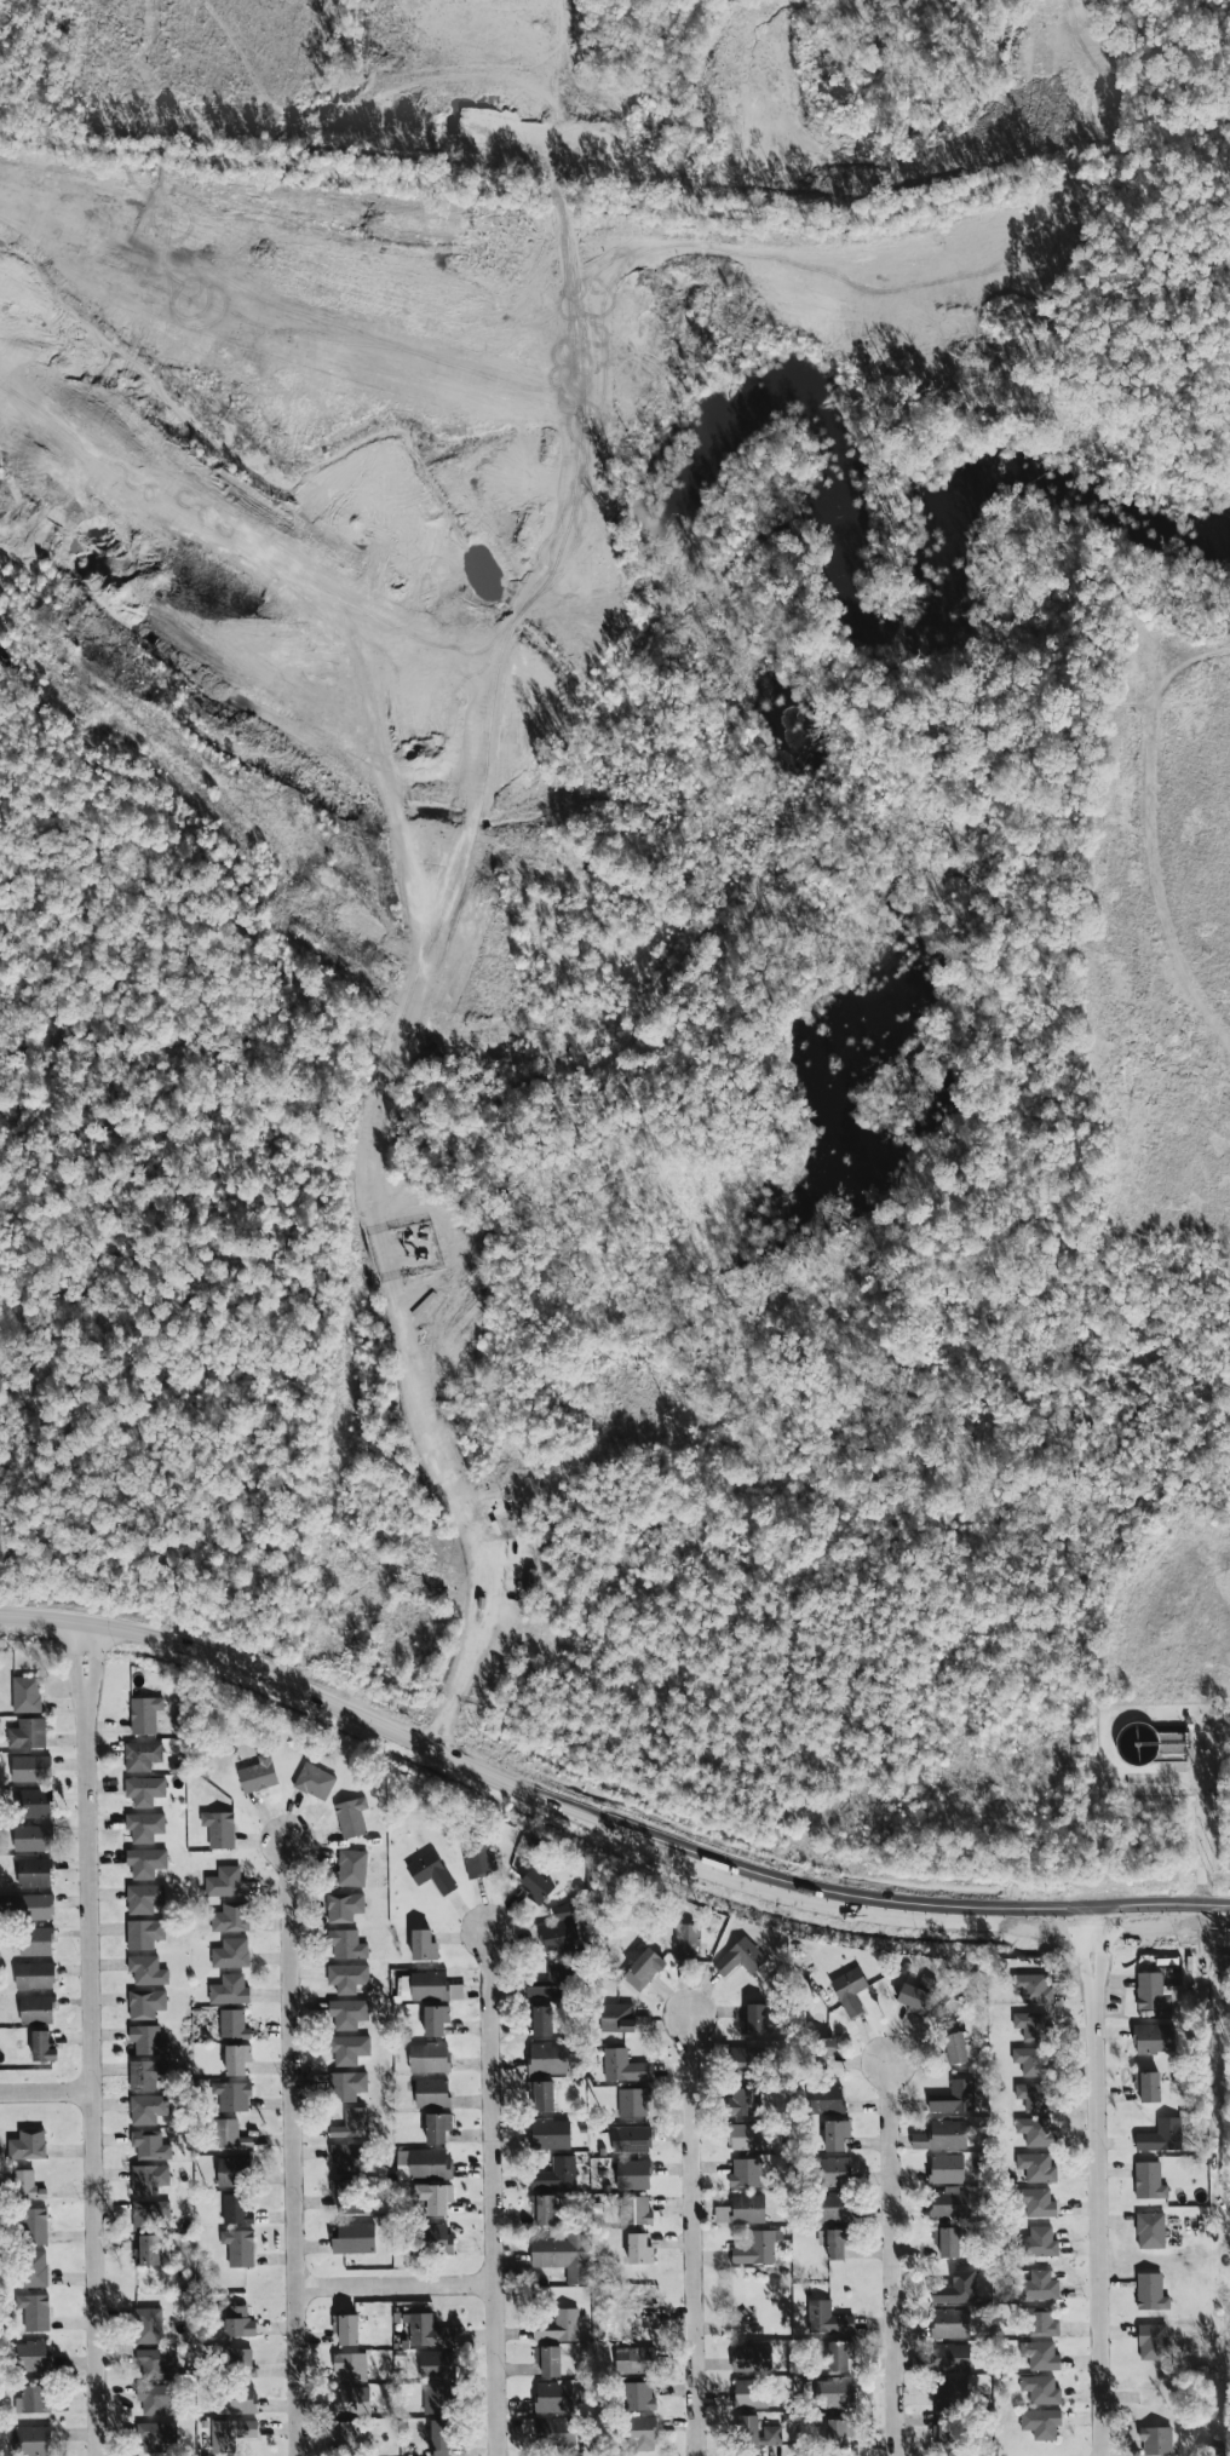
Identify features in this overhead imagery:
road: (372, 1213)
road: (84, 1638)
road: (91, 1640)
road: (80, 1674)
road: (91, 1676)
building: (25, 1693)
building: (144, 1714)
building: (27, 1733)
building: (140, 1755)
building: (30, 1768)
building: (257, 1775)
building: (314, 1782)
building: (144, 1790)
building: (31, 1802)
building: (350, 1817)
building: (144, 1827)
road: (603, 1828)
building: (219, 1829)
road: (1201, 1834)
building: (33, 1837)
building: (478, 1858)
building: (145, 1862)
building: (351, 1868)
building: (430, 1871)
building: (34, 1873)
building: (225, 1882)
building: (536, 1886)
building: (143, 1898)
building: (28, 1906)
building: (343, 1906)
building: (230, 1917)
building: (559, 1932)
building: (144, 1933)
building: (35, 1940)
building: (346, 1944)
building: (423, 1945)
building: (230, 1954)
building: (736, 1957)
building: (639, 1965)
building: (146, 1969)
building: (34, 1975)
building: (346, 1977)
building: (552, 1983)
building: (429, 1986)
building: (1029, 1988)
building: (229, 1990)
building: (845, 1991)
building: (1145, 1991)
building: (904, 1997)
building: (145, 2003)
building: (36, 2008)
building: (347, 2013)
building: (614, 2018)
building: (748, 2019)
building: (435, 2020)
building: (540, 2020)
building: (232, 2024)
building: (1030, 2025)
building: (1149, 2038)
building: (148, 2040)
building: (41, 2046)
building: (948, 2048)
building: (347, 2049)
building: (814, 2053)
building: (429, 2057)
building: (547, 2058)
building: (236, 2059)
building: (1027, 2060)
building: (620, 2066)
road: (96, 2075)
building: (146, 2075)
building: (345, 2086)
building: (1142, 2088)
building: (431, 2092)
road: (48, 2095)
building: (231, 2095)
building: (541, 2095)
building: (950, 2098)
building: (821, 2099)
building: (628, 2101)
building: (743, 2103)
building: (146, 2109)
building: (1034, 2117)
building: (351, 2123)
building: (437, 2127)
building: (617, 2133)
building: (230, 2134)
building: (550, 2134)
building: (830, 2135)
building: (737, 2136)
building: (937, 2136)
building: (1156, 2136)
building: (27, 2145)
building: (149, 2145)
road: (292, 2147)
building: (347, 2157)
building: (423, 2163)
building: (1031, 2168)
building: (942, 2169)
building: (232, 2172)
building: (823, 2172)
building: (741, 2173)
building: (556, 2174)
building: (628, 2175)
building: (148, 2179)
building: (1144, 2181)
building: (27, 2185)
building: (344, 2193)
road: (494, 2193)
road: (1092, 2196)
building: (435, 2197)
building: (1033, 2202)
building: (944, 2204)
building: (544, 2208)
building: (824, 2208)
building: (235, 2209)
building: (741, 2209)
building: (634, 2210)
building: (149, 2214)
building: (34, 2227)
building: (1145, 2231)
road: (691, 2237)
building: (352, 2239)
building: (430, 2239)
building: (1034, 2243)
building: (827, 2245)
building: (238, 2247)
building: (633, 2249)
building: (749, 2249)
building: (146, 2250)
building: (563, 2255)
road: (886, 2259)
building: (33, 2268)
road: (395, 2285)
building: (1035, 2287)
building: (1145, 2293)
building: (34, 2311)
building: (820, 2319)
building: (238, 2322)
building: (1038, 2323)
building: (946, 2324)
building: (148, 2325)
building: (559, 2326)
building: (345, 2328)
building: (427, 2331)
building: (1148, 2341)
building: (944, 2351)
building: (30, 2356)
building: (829, 2358)
building: (1035, 2358)
building: (547, 2359)
building: (155, 2363)
building: (240, 2363)
building: (436, 2365)
building: (946, 2365)
building: (350, 2366)
building: (1038, 2389)
building: (829, 2394)
building: (553, 2397)
building: (632, 2397)
building: (34, 2398)
building: (155, 2398)
building: (351, 2399)
building: (438, 2399)
building: (236, 2400)
building: (1038, 2423)
building: (782, 2426)
building: (556, 2429)
building: (742, 2429)
building: (231, 2432)
building: (633, 2433)
building: (347, 2434)
building: (155, 2435)
building: (771, 2435)
building: (829, 2435)
building: (439, 2437)
building: (30, 2440)
building: (1151, 2441)

